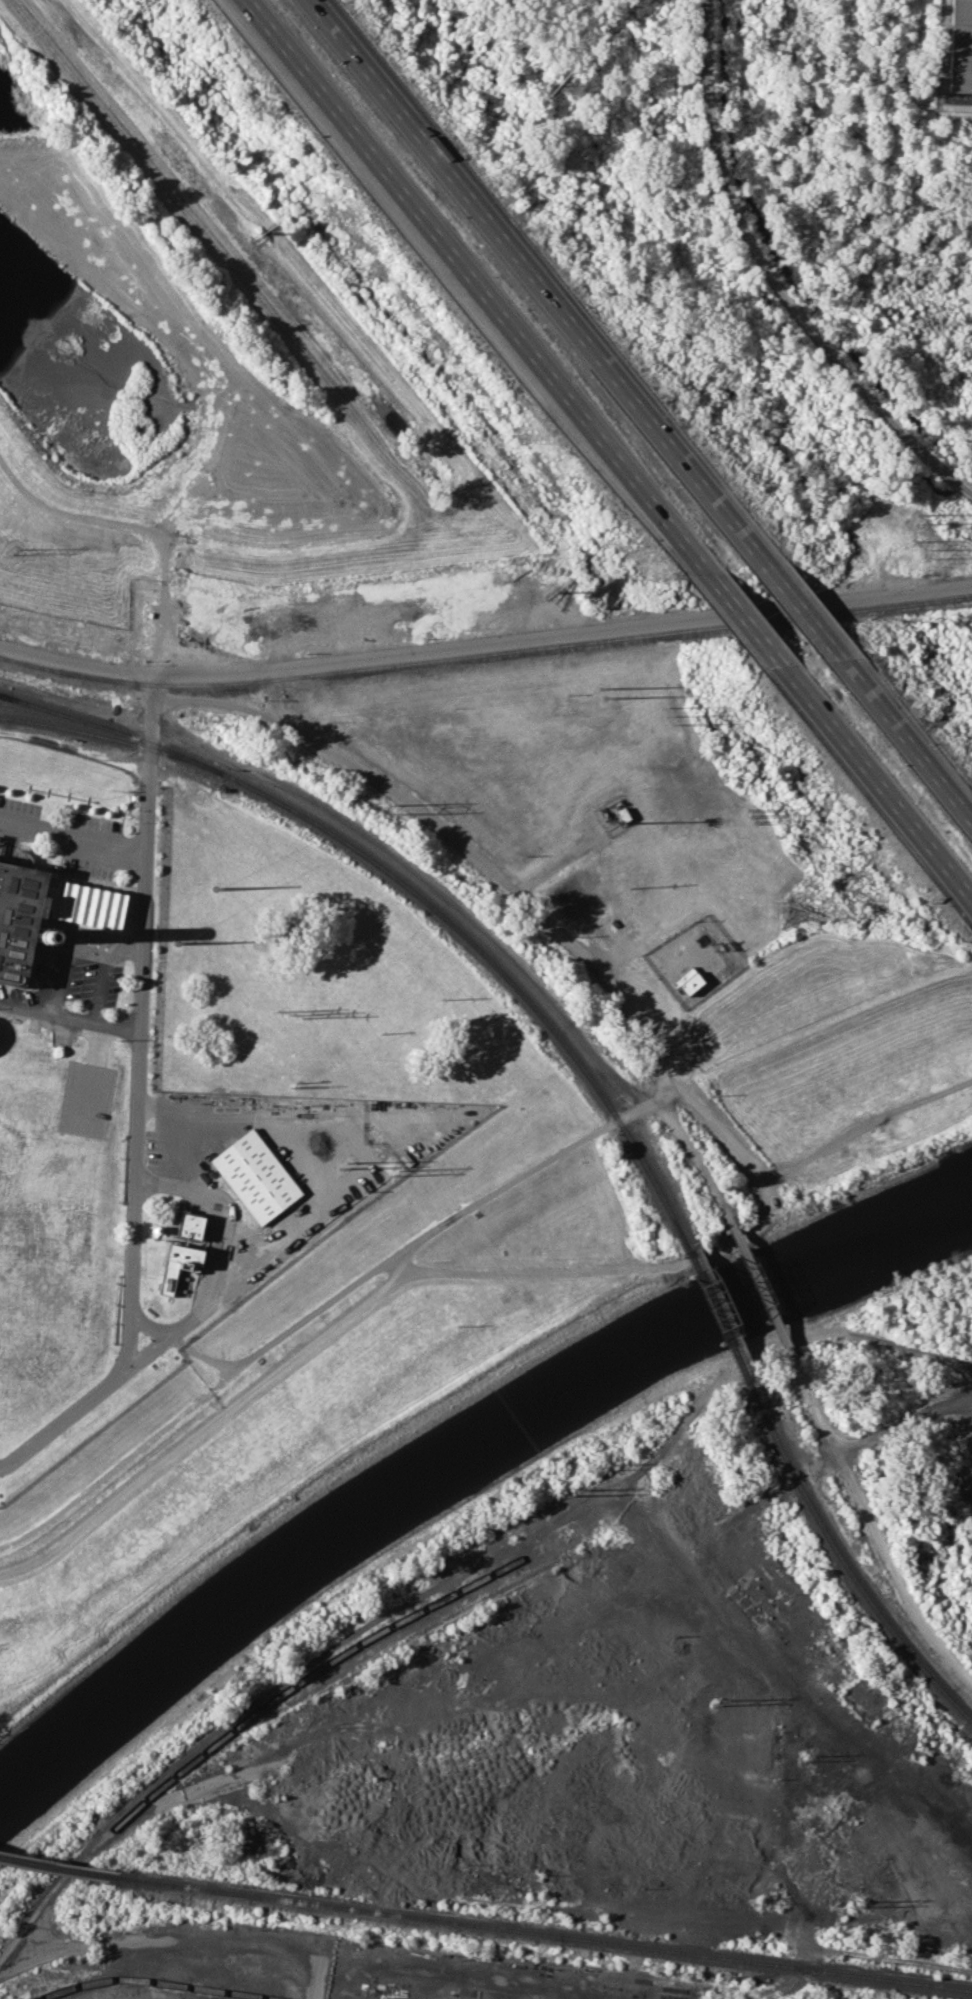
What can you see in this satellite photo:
railway: (705, 7)
building: (960, 46)
road: (529, 277)
railway: (771, 279)
road: (469, 280)
power tower: (920, 515)
power tower: (922, 524)
power tower: (12, 551)
power tower: (925, 555)
road: (792, 605)
road: (736, 611)
crop: (964, 620)
road: (485, 643)
railway: (485, 653)
power tower: (601, 692)
road: (275, 696)
power tower: (608, 698)
power tower: (666, 718)
railway: (112, 739)
road: (903, 740)
railway: (234, 769)
road: (875, 781)
power tower: (390, 807)
road: (74, 835)
road: (455, 838)
power tower: (213, 888)
railway: (412, 889)
building: (89, 903)
building: (19, 916)
road: (145, 926)
power tower: (178, 943)
building: (687, 980)
power tower: (284, 1012)
road: (184, 1111)
wastewater plant: (136, 1126)
power tower: (345, 1165)
road: (700, 1165)
power tower: (393, 1172)
building: (257, 1176)
road: (132, 1200)
building: (192, 1227)
road: (441, 1227)
road: (211, 1257)
road: (678, 1263)
building: (182, 1272)
road: (769, 1299)
railway: (725, 1324)
road: (150, 1325)
road: (198, 1399)
road: (63, 1417)
road: (892, 1430)
river: (454, 1453)
power tower: (599, 1466)
power tower: (572, 1493)
road: (875, 1530)
railway: (849, 1570)
railway: (383, 1650)
road: (373, 1702)
power tower: (718, 1702)
railway: (256, 1713)
power tower: (804, 1757)
railway: (59, 1868)
power tower: (853, 1904)
railway: (545, 1934)
road: (317, 1976)
railway: (156, 1981)

